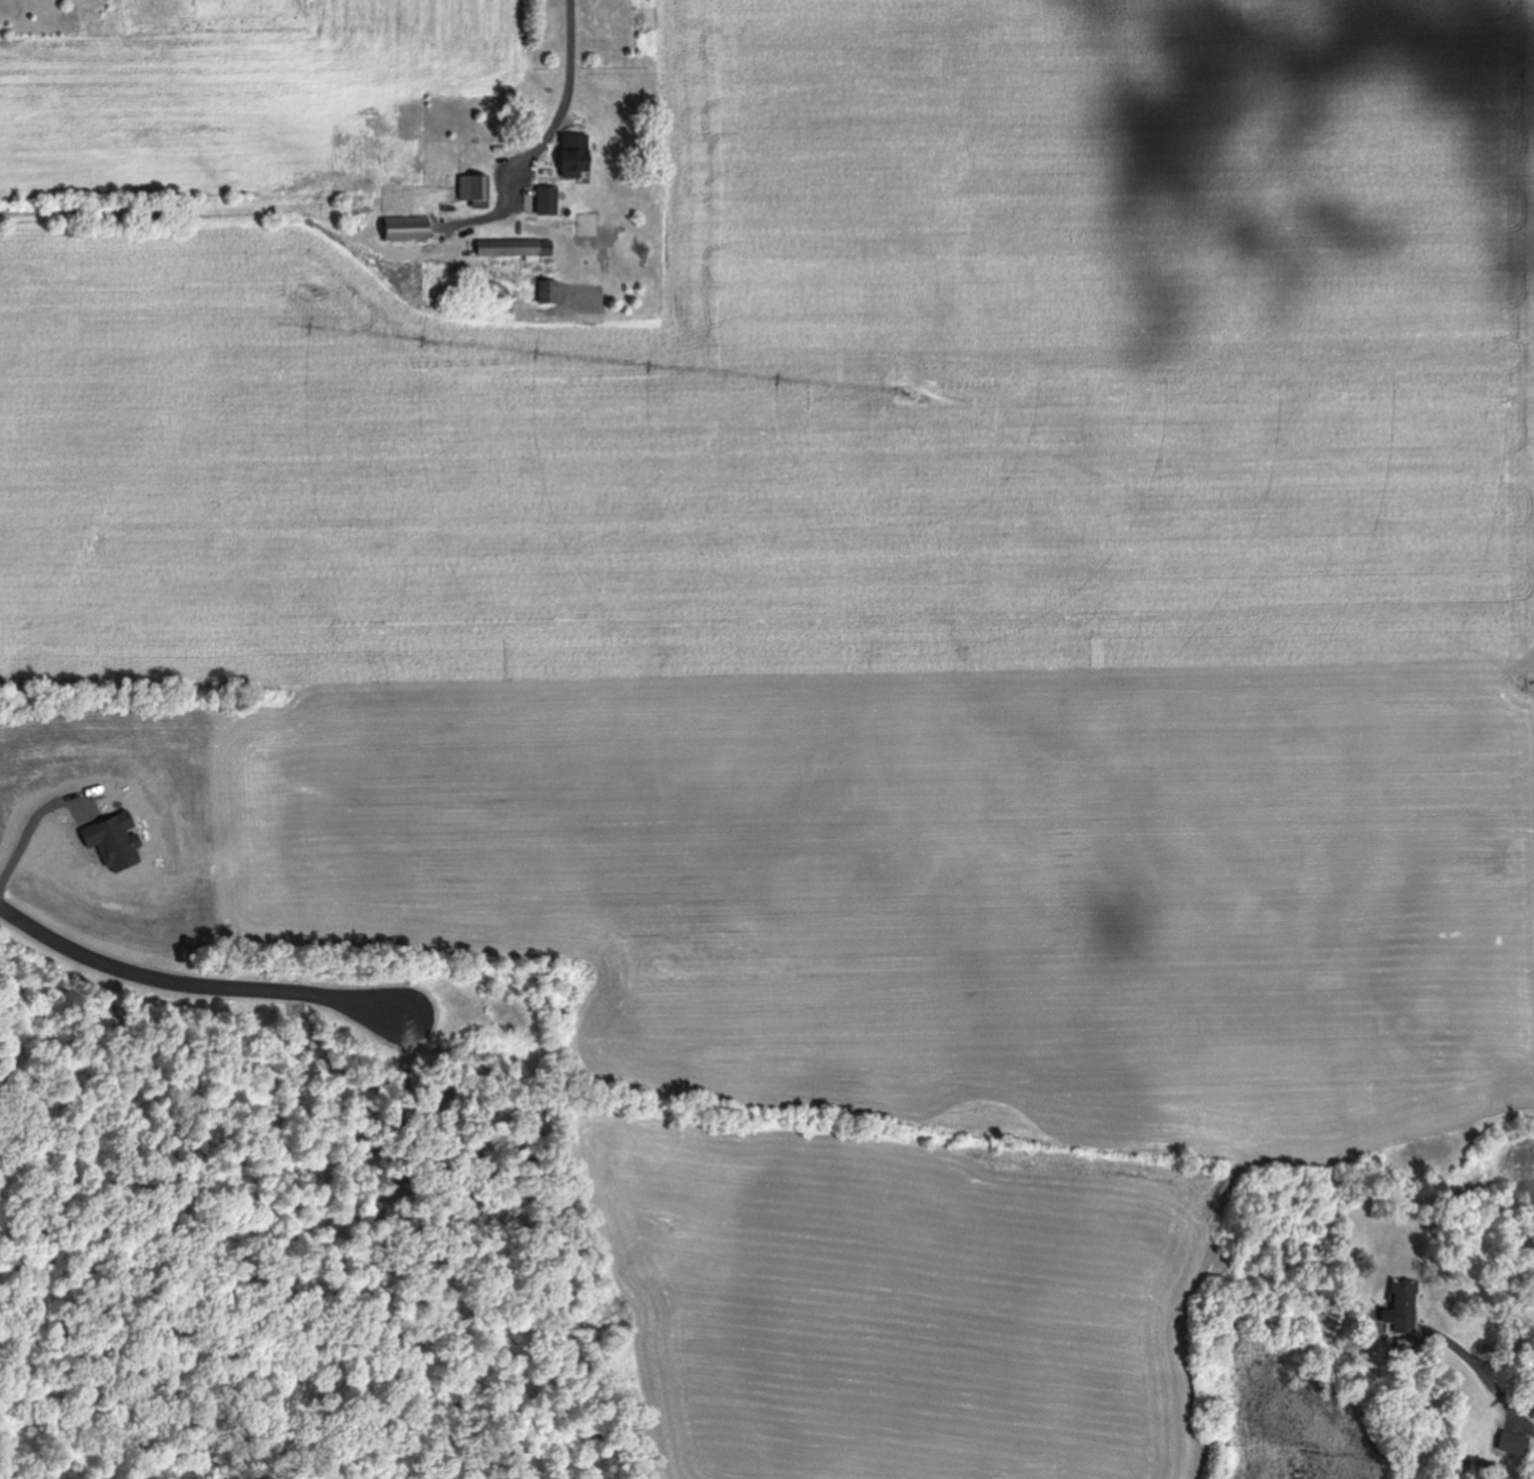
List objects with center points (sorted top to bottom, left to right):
road: (578, 99)
building: (572, 158)
building: (472, 189)
building: (540, 199)
building: (404, 228)
building: (513, 247)
building: (546, 290)
road: (186, 992)
building: (1401, 1306)
road: (1489, 1374)
building: (1512, 1441)

